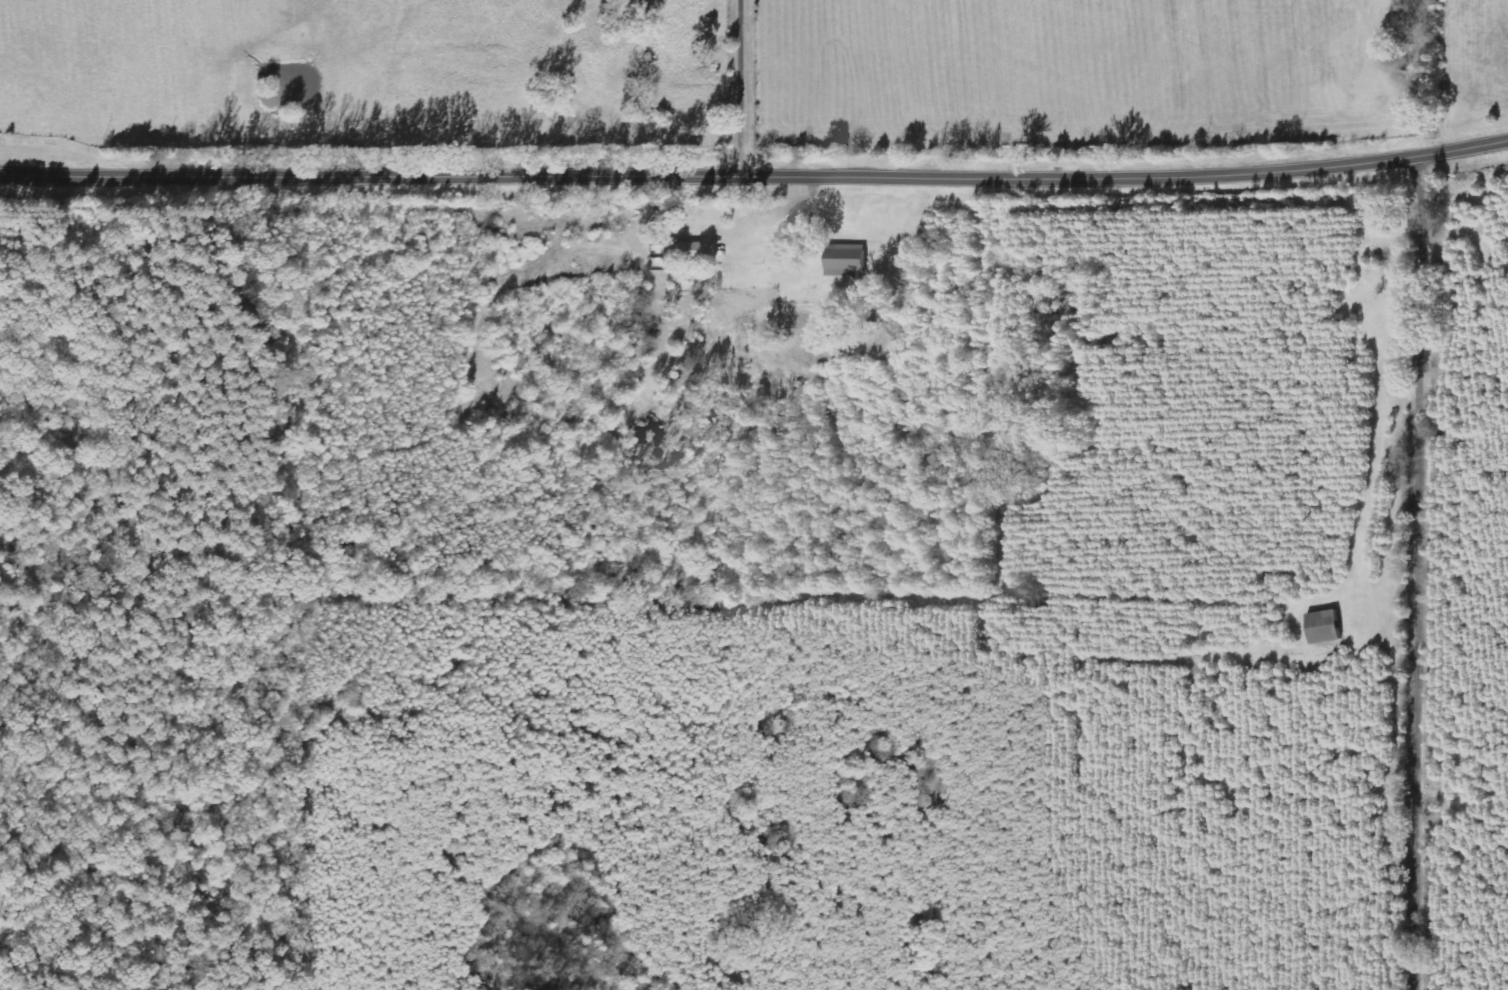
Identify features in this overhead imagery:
road: (750, 88)
road: (755, 176)
building: (690, 251)
building: (846, 261)
building: (1323, 627)

